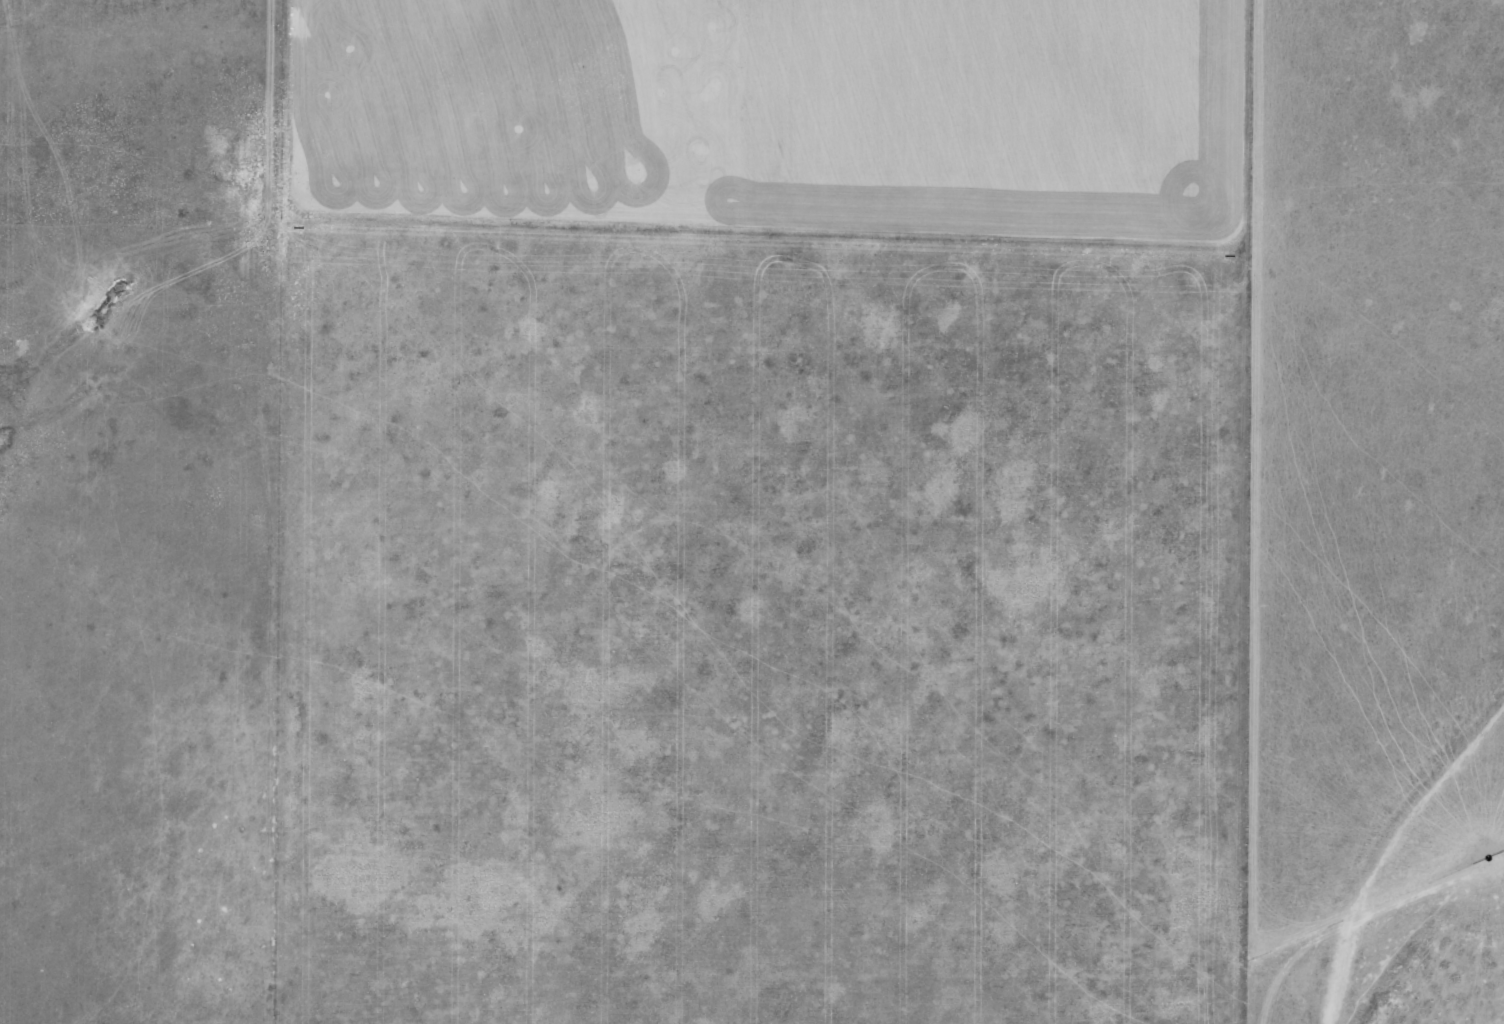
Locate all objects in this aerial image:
road: (1279, 1023)

